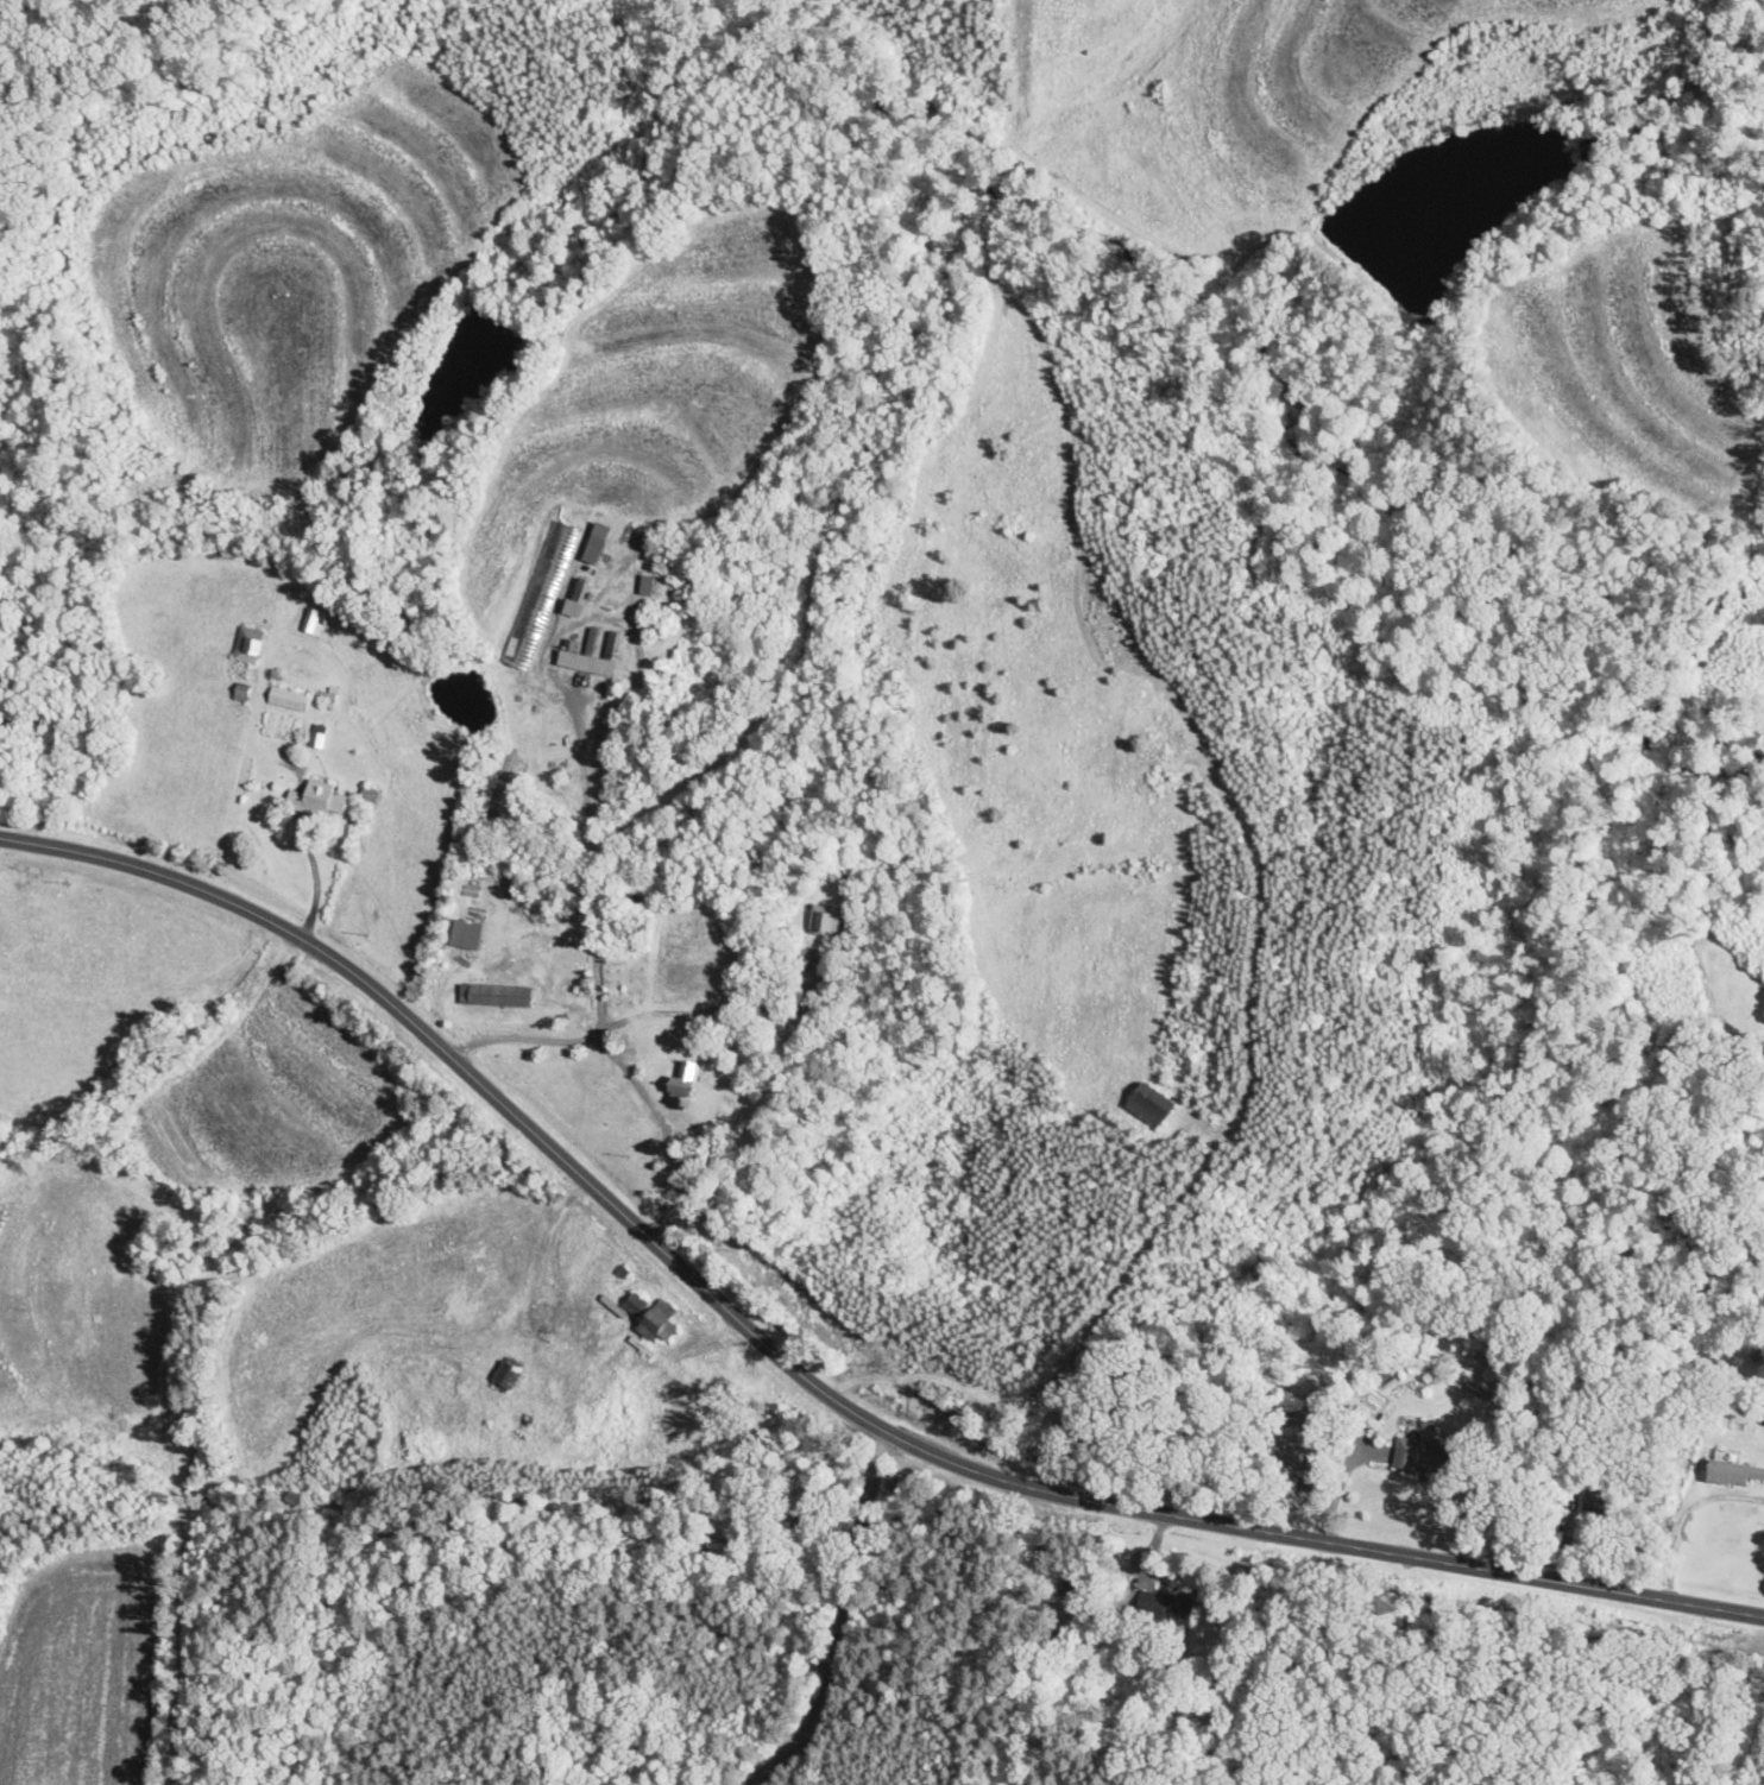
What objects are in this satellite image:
building: (593, 550)
building: (647, 587)
building: (577, 599)
building: (316, 619)
building: (248, 646)
building: (588, 658)
building: (288, 699)
building: (320, 801)
road: (604, 908)
building: (826, 921)
building: (561, 985)
building: (629, 991)
building: (490, 995)
building: (683, 1083)
building: (1146, 1097)
building: (656, 1316)
building: (506, 1375)
road: (809, 1380)
building: (1424, 1453)
building: (1287, 1457)
building: (1732, 1471)
building: (893, 1483)
building: (1600, 1506)
building: (714, 1549)
building: (1170, 1607)
road: (846, 1627)
road: (1754, 1758)

